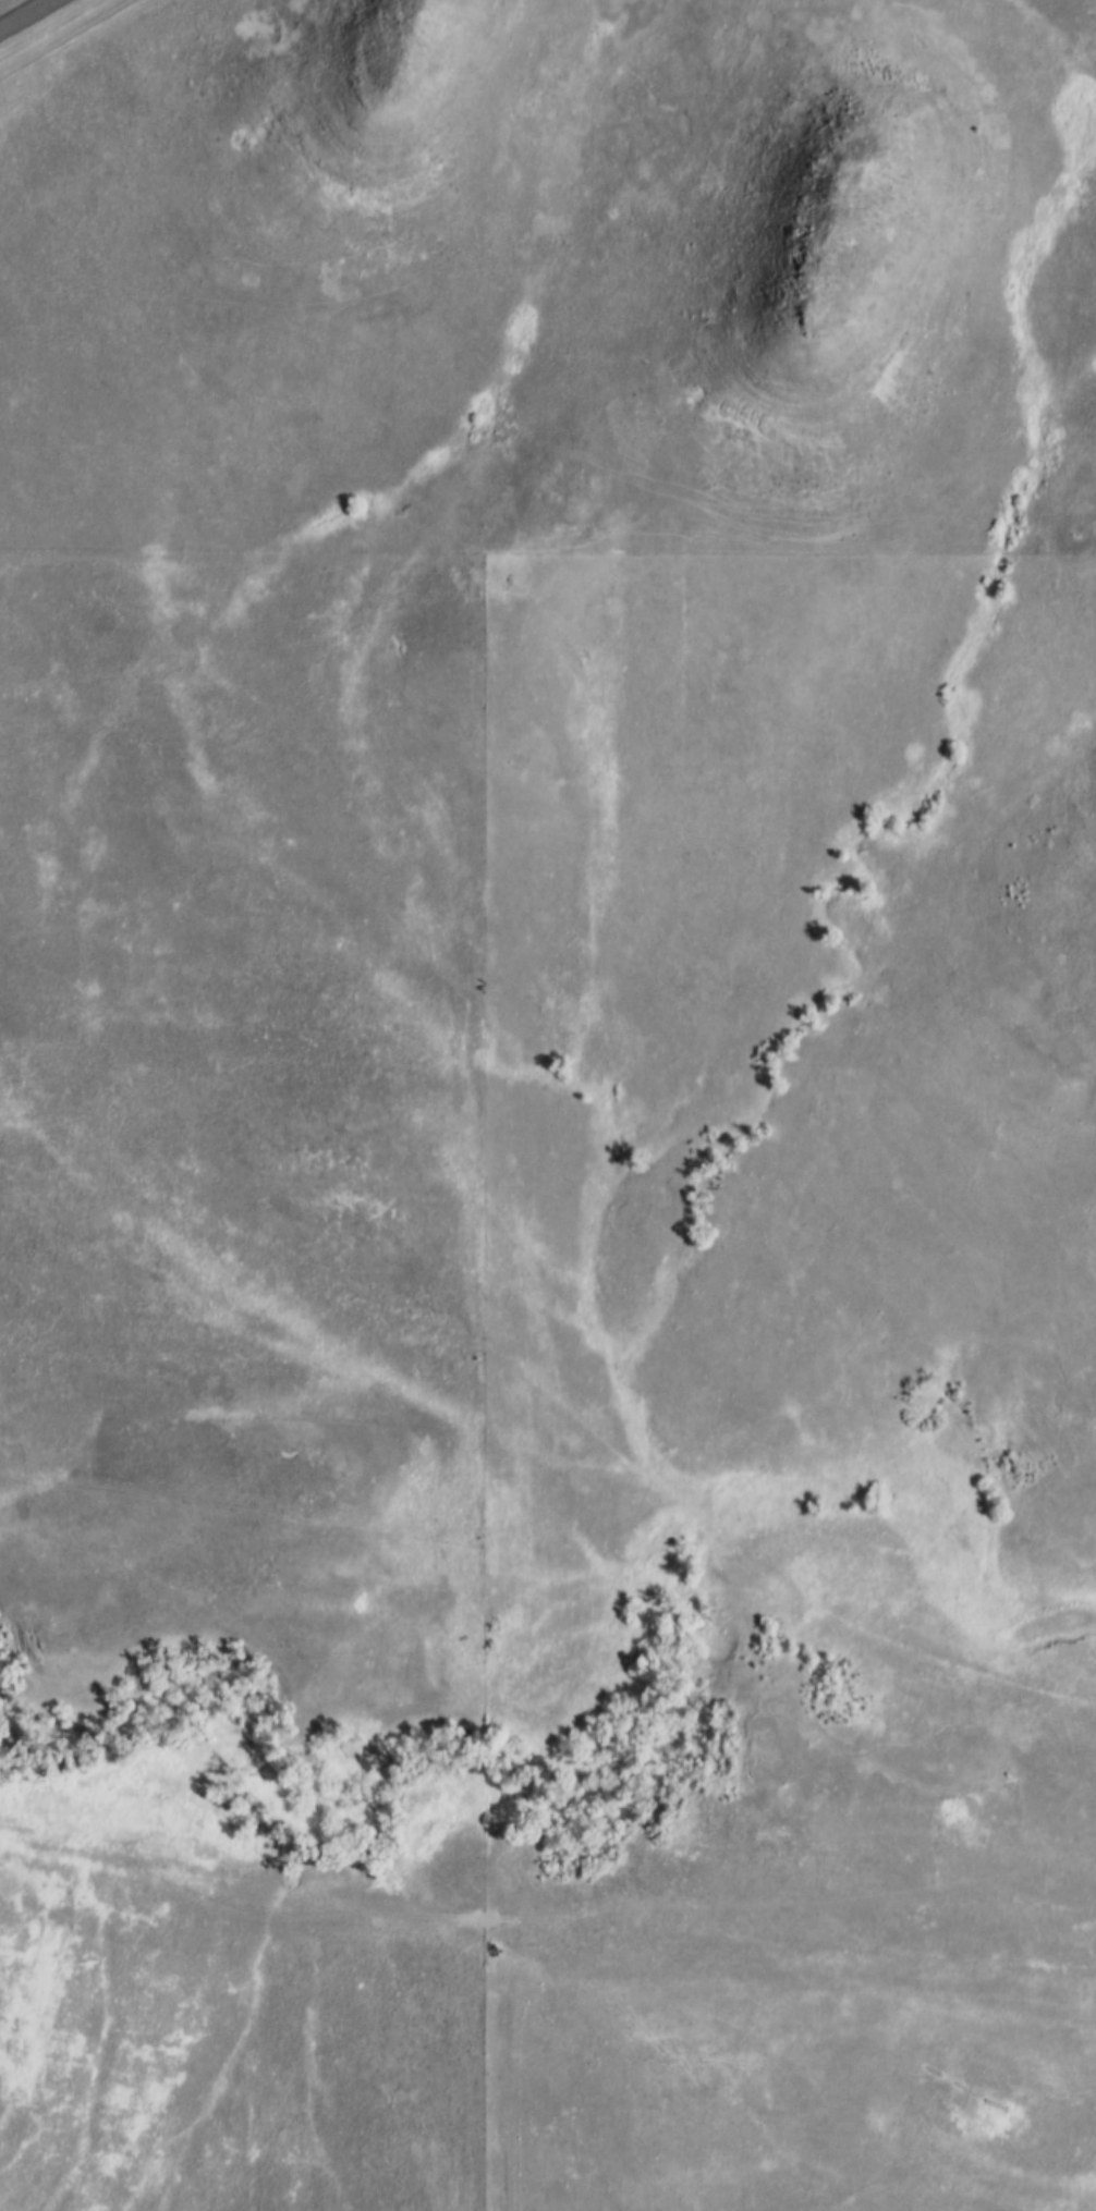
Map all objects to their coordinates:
road: (20, 12)

